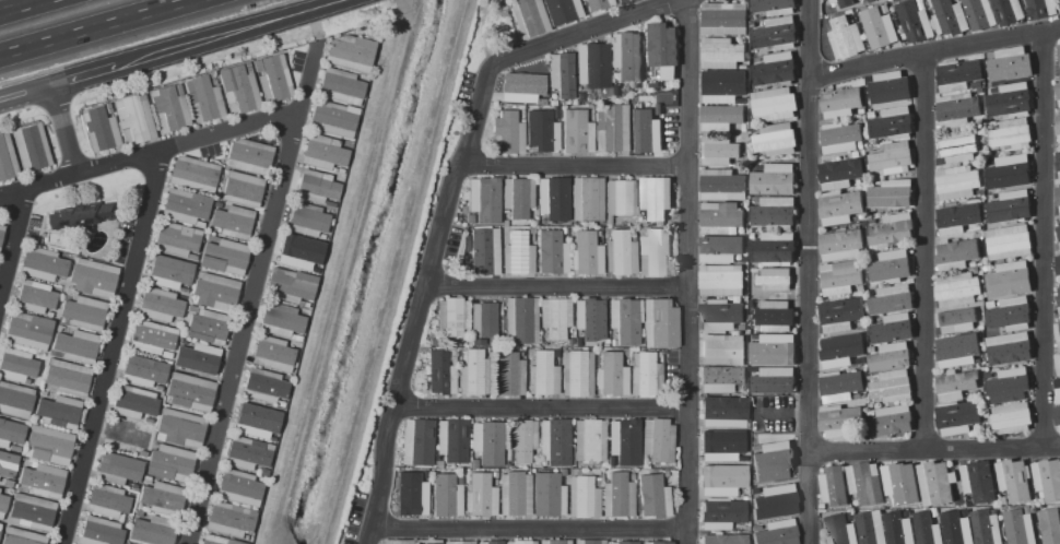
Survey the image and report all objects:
building: (860, 0)
building: (918, 0)
building: (622, 1)
building: (870, 1)
building: (844, 3)
building: (597, 4)
building: (773, 7)
road: (26, 8)
building: (1040, 8)
building: (564, 11)
building: (1008, 11)
building: (849, 13)
building: (979, 14)
building: (949, 16)
building: (529, 17)
building: (725, 19)
building: (759, 19)
building: (915, 22)
building: (752, 25)
road: (101, 28)
building: (881, 29)
road: (584, 31)
building: (776, 33)
road: (233, 34)
building: (845, 37)
building: (662, 48)
building: (1059, 49)
building: (351, 52)
building: (721, 52)
building: (754, 52)
road: (933, 52)
building: (626, 56)
building: (1009, 63)
building: (743, 67)
building: (248, 68)
building: (592, 69)
building: (775, 69)
building: (562, 74)
building: (956, 74)
road: (82, 76)
building: (614, 76)
building: (273, 78)
building: (213, 83)
building: (653, 84)
building: (976, 84)
building: (519, 86)
building: (723, 86)
building: (1058, 86)
building: (342, 87)
building: (888, 87)
building: (178, 90)
building: (238, 90)
building: (993, 90)
road: (25, 93)
building: (202, 99)
building: (1009, 100)
building: (839, 102)
building: (553, 103)
building: (774, 104)
building: (107, 109)
building: (168, 109)
building: (657, 109)
building: (957, 109)
building: (521, 110)
building: (555, 110)
building: (861, 110)
building: (870, 115)
building: (720, 117)
building: (134, 119)
building: (333, 119)
building: (892, 122)
building: (985, 123)
building: (1058, 126)
building: (613, 128)
building: (744, 128)
building: (99, 129)
building: (752, 130)
road: (64, 131)
building: (576, 131)
building: (542, 132)
building: (644, 132)
building: (507, 133)
building: (1011, 134)
building: (839, 137)
building: (775, 139)
building: (860, 144)
building: (956, 146)
building: (32, 147)
building: (871, 149)
building: (719, 151)
building: (322, 152)
building: (981, 153)
road: (151, 156)
building: (248, 157)
building: (7, 158)
building: (892, 158)
building: (991, 159)
building: (1058, 159)
road: (576, 164)
building: (761, 167)
building: (1010, 169)
building: (341, 172)
building: (839, 173)
building: (192, 175)
building: (773, 179)
building: (956, 181)
building: (858, 182)
building: (721, 184)
building: (878, 184)
building: (316, 187)
building: (240, 189)
building: (980, 191)
building: (891, 194)
building: (1059, 194)
building: (656, 197)
building: (991, 197)
building: (484, 198)
building: (518, 198)
building: (621, 199)
building: (553, 200)
building: (587, 200)
building: (329, 204)
building: (185, 206)
building: (839, 206)
building: (1009, 206)
building: (774, 213)
building: (78, 215)
building: (862, 217)
building: (722, 218)
building: (956, 218)
building: (306, 221)
building: (873, 221)
building: (232, 222)
building: (470, 223)
building: (505, 223)
building: (198, 224)
building: (641, 224)
building: (1059, 226)
building: (976, 227)
building: (892, 229)
building: (530, 230)
building: (1, 232)
building: (564, 232)
building: (598, 234)
building: (753, 235)
building: (321, 238)
building: (464, 238)
building: (176, 241)
building: (1009, 241)
road: (1045, 241)
building: (841, 245)
road: (14, 246)
building: (721, 247)
building: (774, 247)
building: (484, 250)
building: (653, 251)
building: (518, 253)
building: (552, 253)
building: (585, 253)
building: (620, 253)
road: (926, 253)
building: (298, 255)
building: (956, 255)
building: (224, 257)
building: (874, 257)
building: (744, 259)
building: (980, 263)
building: (42, 264)
building: (1058, 265)
building: (891, 267)
building: (987, 269)
building: (754, 270)
building: (975, 270)
road: (687, 271)
road: (809, 271)
road: (339, 272)
building: (168, 273)
building: (840, 276)
building: (92, 277)
building: (774, 279)
building: (1009, 279)
building: (721, 280)
building: (290, 287)
road: (556, 288)
building: (861, 289)
building: (957, 289)
building: (215, 293)
road: (256, 294)
building: (985, 294)
building: (68, 296)
building: (1058, 297)
building: (35, 298)
road: (421, 299)
building: (891, 299)
building: (751, 303)
building: (990, 304)
building: (158, 305)
building: (306, 305)
building: (750, 309)
building: (83, 312)
building: (49, 314)
building: (840, 314)
building: (1010, 314)
building: (720, 315)
building: (775, 316)
building: (449, 317)
building: (554, 317)
building: (520, 320)
building: (955, 320)
building: (282, 321)
building: (483, 321)
building: (592, 321)
building: (624, 321)
building: (658, 323)
building: (864, 324)
building: (205, 326)
building: (57, 327)
building: (743, 327)
building: (981, 328)
building: (892, 329)
building: (27, 331)
building: (1058, 332)
building: (153, 339)
building: (478, 343)
building: (612, 343)
building: (75, 345)
building: (753, 345)
road: (114, 348)
building: (776, 348)
building: (1009, 348)
building: (451, 350)
building: (487, 350)
building: (723, 350)
building: (872, 350)
building: (955, 350)
building: (841, 351)
building: (522, 352)
building: (623, 352)
building: (628, 353)
building: (272, 354)
building: (555, 354)
building: (659, 355)
building: (890, 356)
building: (198, 358)
building: (979, 359)
building: (974, 362)
building: (1057, 363)
building: (16, 365)
building: (750, 368)
building: (757, 369)
building: (143, 372)
building: (440, 372)
building: (473, 374)
building: (576, 374)
building: (507, 375)
building: (542, 375)
building: (611, 375)
building: (645, 375)
building: (988, 375)
building: (872, 376)
building: (868, 377)
building: (67, 378)
building: (720, 379)
building: (774, 381)
building: (956, 383)
building: (840, 385)
building: (1009, 385)
building: (892, 386)
building: (264, 387)
building: (744, 388)
building: (157, 389)
building: (1057, 389)
building: (190, 393)
building: (858, 397)
building: (15, 400)
building: (133, 402)
building: (280, 404)
road: (541, 409)
building: (58, 411)
building: (986, 411)
building: (723, 413)
building: (871, 413)
building: (1057, 414)
building: (957, 416)
building: (1011, 417)
building: (254, 419)
building: (839, 421)
building: (891, 421)
building: (179, 427)
building: (10, 433)
building: (973, 434)
building: (123, 435)
building: (269, 437)
building: (520, 439)
building: (623, 439)
building: (451, 440)
building: (589, 440)
building: (657, 440)
building: (555, 441)
building: (416, 442)
building: (487, 442)
building: (48, 446)
building: (718, 446)
building: (753, 447)
road: (934, 452)
building: (247, 453)
building: (142, 454)
building: (739, 459)
building: (773, 461)
building: (610, 462)
building: (170, 463)
building: (507, 463)
building: (438, 464)
building: (473, 464)
building: (541, 464)
building: (7, 469)
building: (116, 469)
building: (562, 472)
building: (264, 473)
building: (666, 474)
building: (631, 476)
building: (494, 477)
building: (1048, 478)
building: (1014, 480)
building: (43, 481)
building: (145, 481)
building: (459, 481)
building: (719, 481)
building: (979, 482)
building: (597, 483)
building: (865, 483)
building: (897, 483)
building: (934, 483)
building: (834, 486)
building: (133, 487)
building: (239, 487)
building: (753, 492)
building: (514, 494)
building: (741, 494)
building: (444, 495)
building: (547, 495)
building: (412, 496)
building: (480, 496)
building: (617, 496)
building: (652, 496)
building: (581, 497)
building: (163, 498)
building: (746, 499)
building: (1040, 500)
building: (107, 501)
building: (773, 502)
building: (888, 502)
building: (969, 505)
building: (2, 506)
building: (822, 506)
building: (965, 509)
building: (1027, 509)
building: (992, 510)
building: (32, 512)
building: (934, 512)
building: (721, 513)
building: (906, 513)
building: (139, 515)
building: (849, 517)
building: (229, 519)
building: (0, 524)
building: (1050, 525)
building: (738, 527)
building: (986, 527)
building: (1018, 527)
building: (871, 528)
building: (956, 528)
road: (531, 529)
building: (745, 529)
building: (899, 529)
building: (927, 529)
building: (152, 530)
building: (839, 530)
building: (101, 531)
building: (774, 533)
building: (20, 537)
building: (216, 540)
building: (723, 540)
building: (397, 542)
building: (428, 542)
building: (459, 542)
building: (490, 542)
building: (554, 542)
building: (589, 542)
building: (656, 542)
building: (520, 543)
building: (624, 543)

